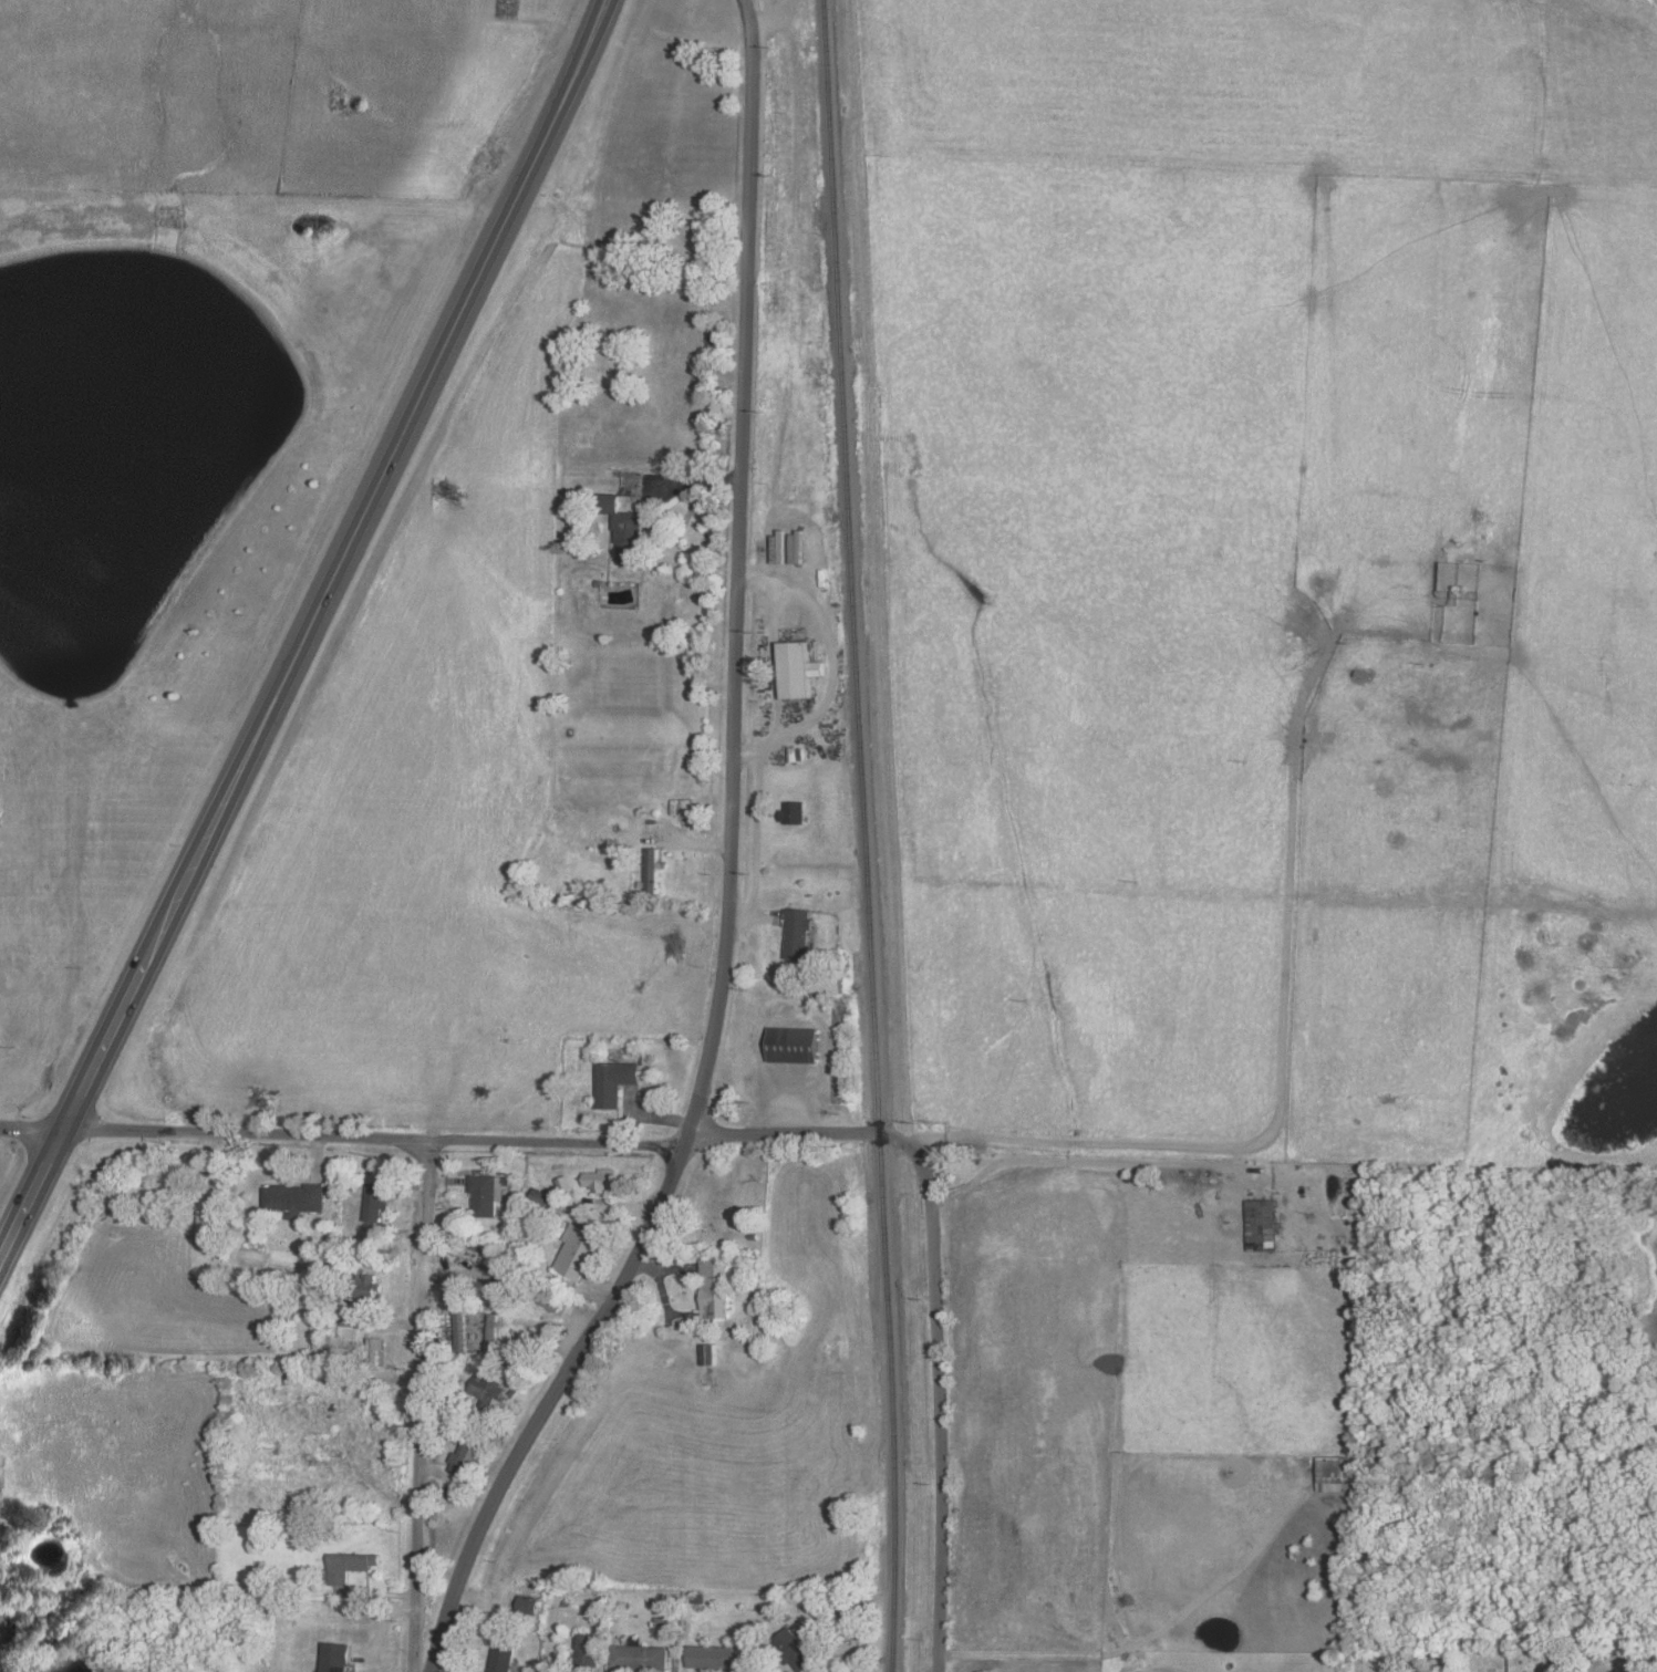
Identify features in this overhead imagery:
road: (783, 416)
building: (624, 522)
road: (307, 630)
building: (798, 669)
building: (791, 812)
railway: (861, 835)
road: (726, 868)
building: (650, 873)
building: (797, 934)
building: (825, 982)
building: (794, 1045)
road: (1283, 1059)
building: (612, 1082)
road: (31, 1130)
road: (794, 1133)
road: (373, 1138)
building: (599, 1180)
building: (565, 1184)
building: (487, 1193)
building: (540, 1198)
building: (293, 1200)
building: (376, 1201)
building: (1262, 1225)
building: (207, 1228)
building: (577, 1252)
building: (472, 1255)
building: (366, 1287)
building: (714, 1288)
building: (348, 1321)
building: (459, 1323)
building: (528, 1346)
building: (375, 1350)
building: (710, 1354)
building: (486, 1390)
road: (939, 1402)
road: (416, 1405)
building: (453, 1433)
building: (465, 1451)
building: (1329, 1474)
building: (346, 1567)
building: (794, 1651)
building: (589, 1652)
building: (503, 1655)
building: (711, 1657)
building: (334, 1658)
building: (640, 1658)

